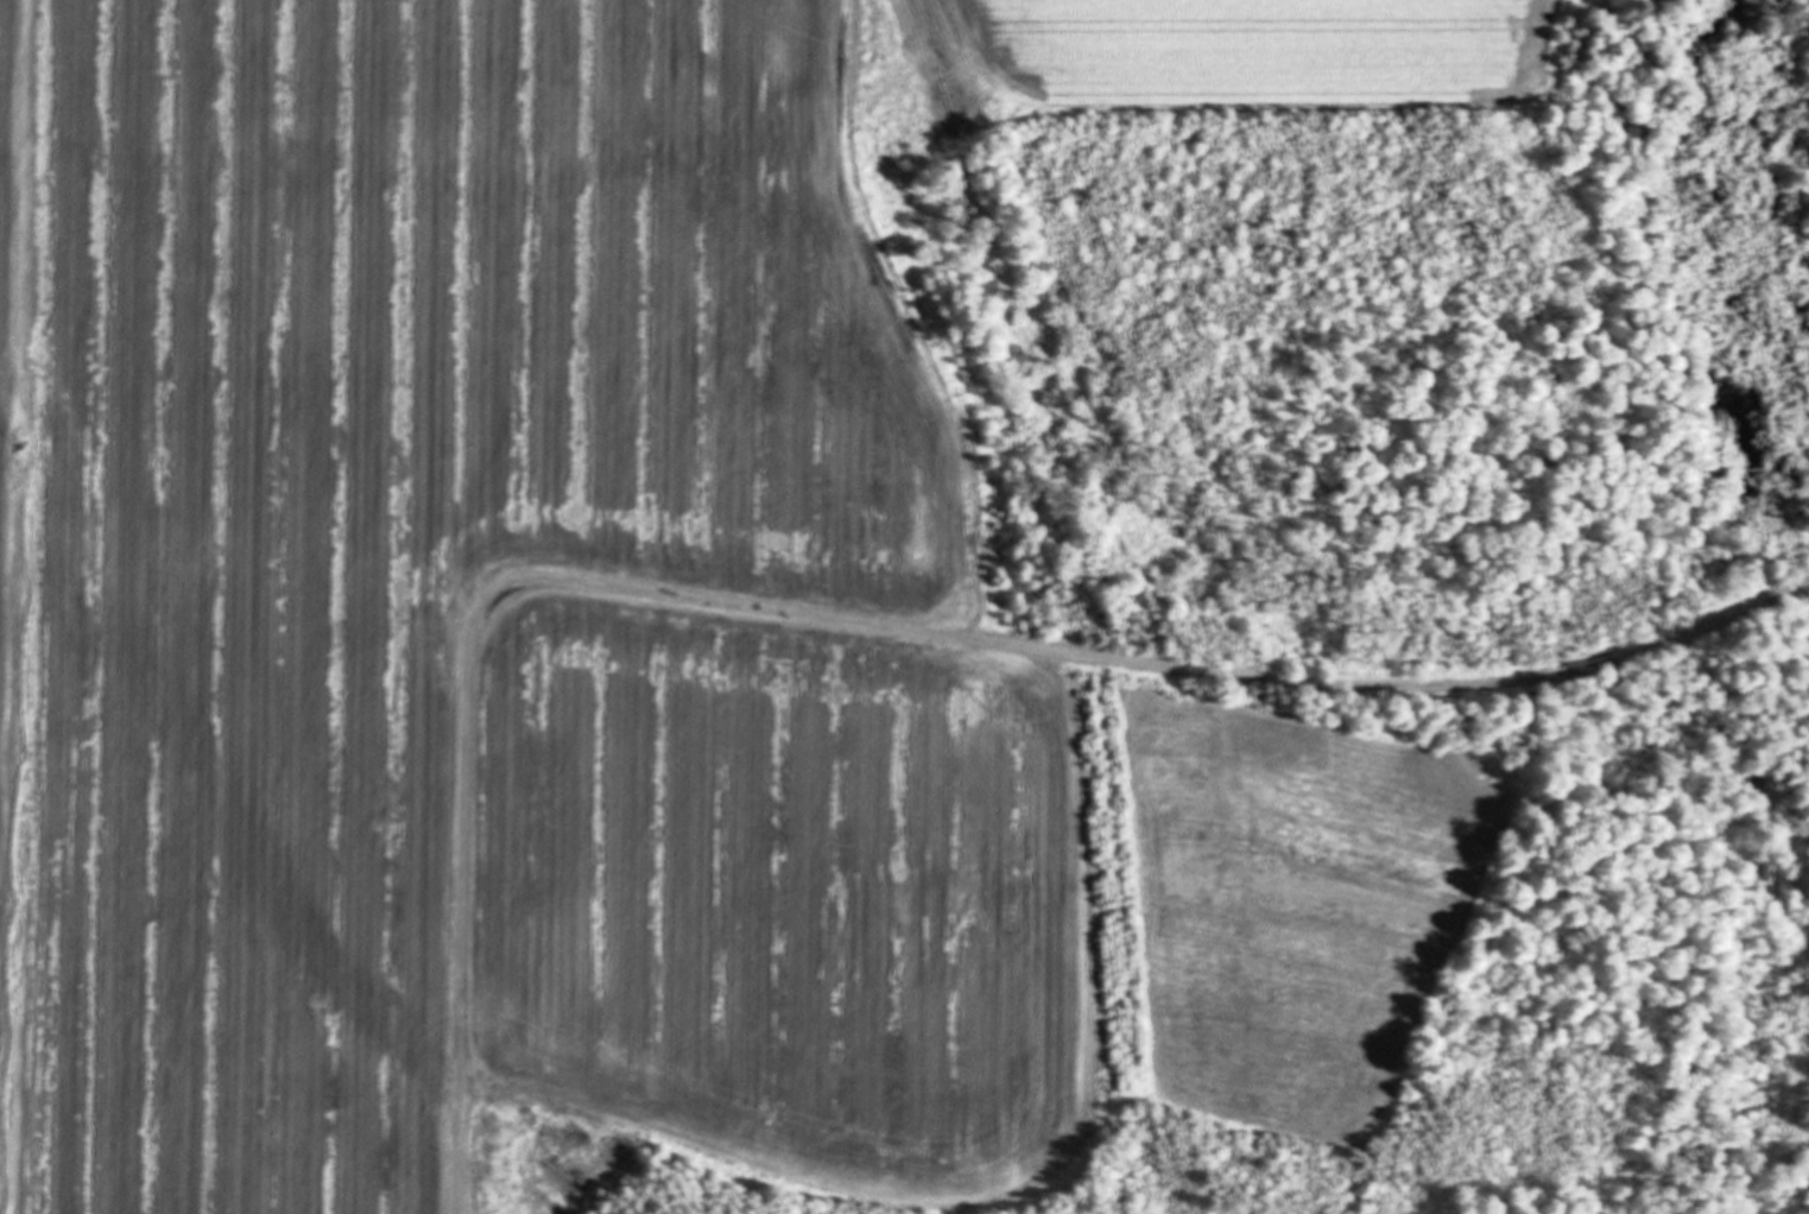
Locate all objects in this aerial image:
road: (847, 620)

